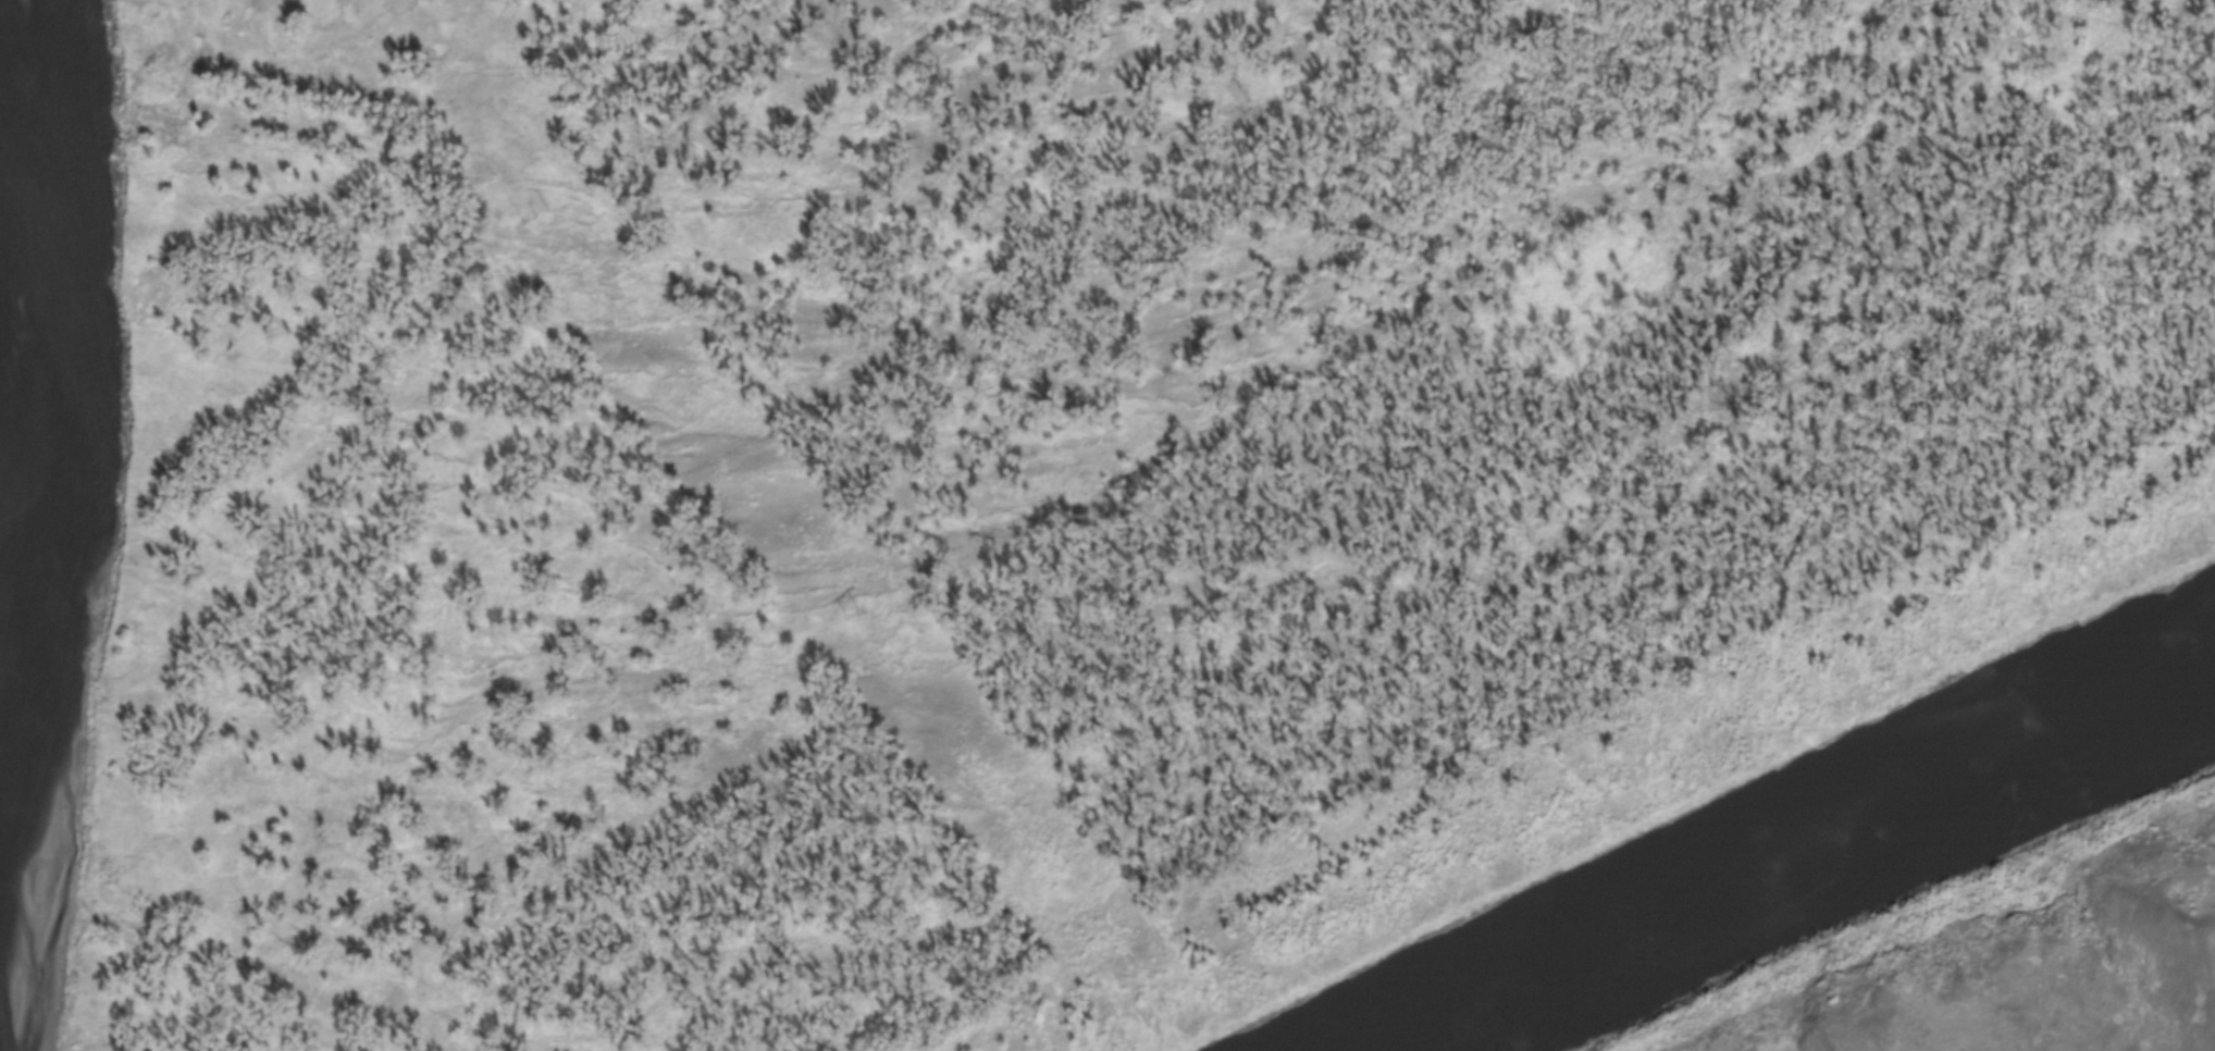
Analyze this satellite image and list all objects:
power tower: (544, 219)
power tower: (859, 617)
river: (39, 650)
river: (1769, 885)

